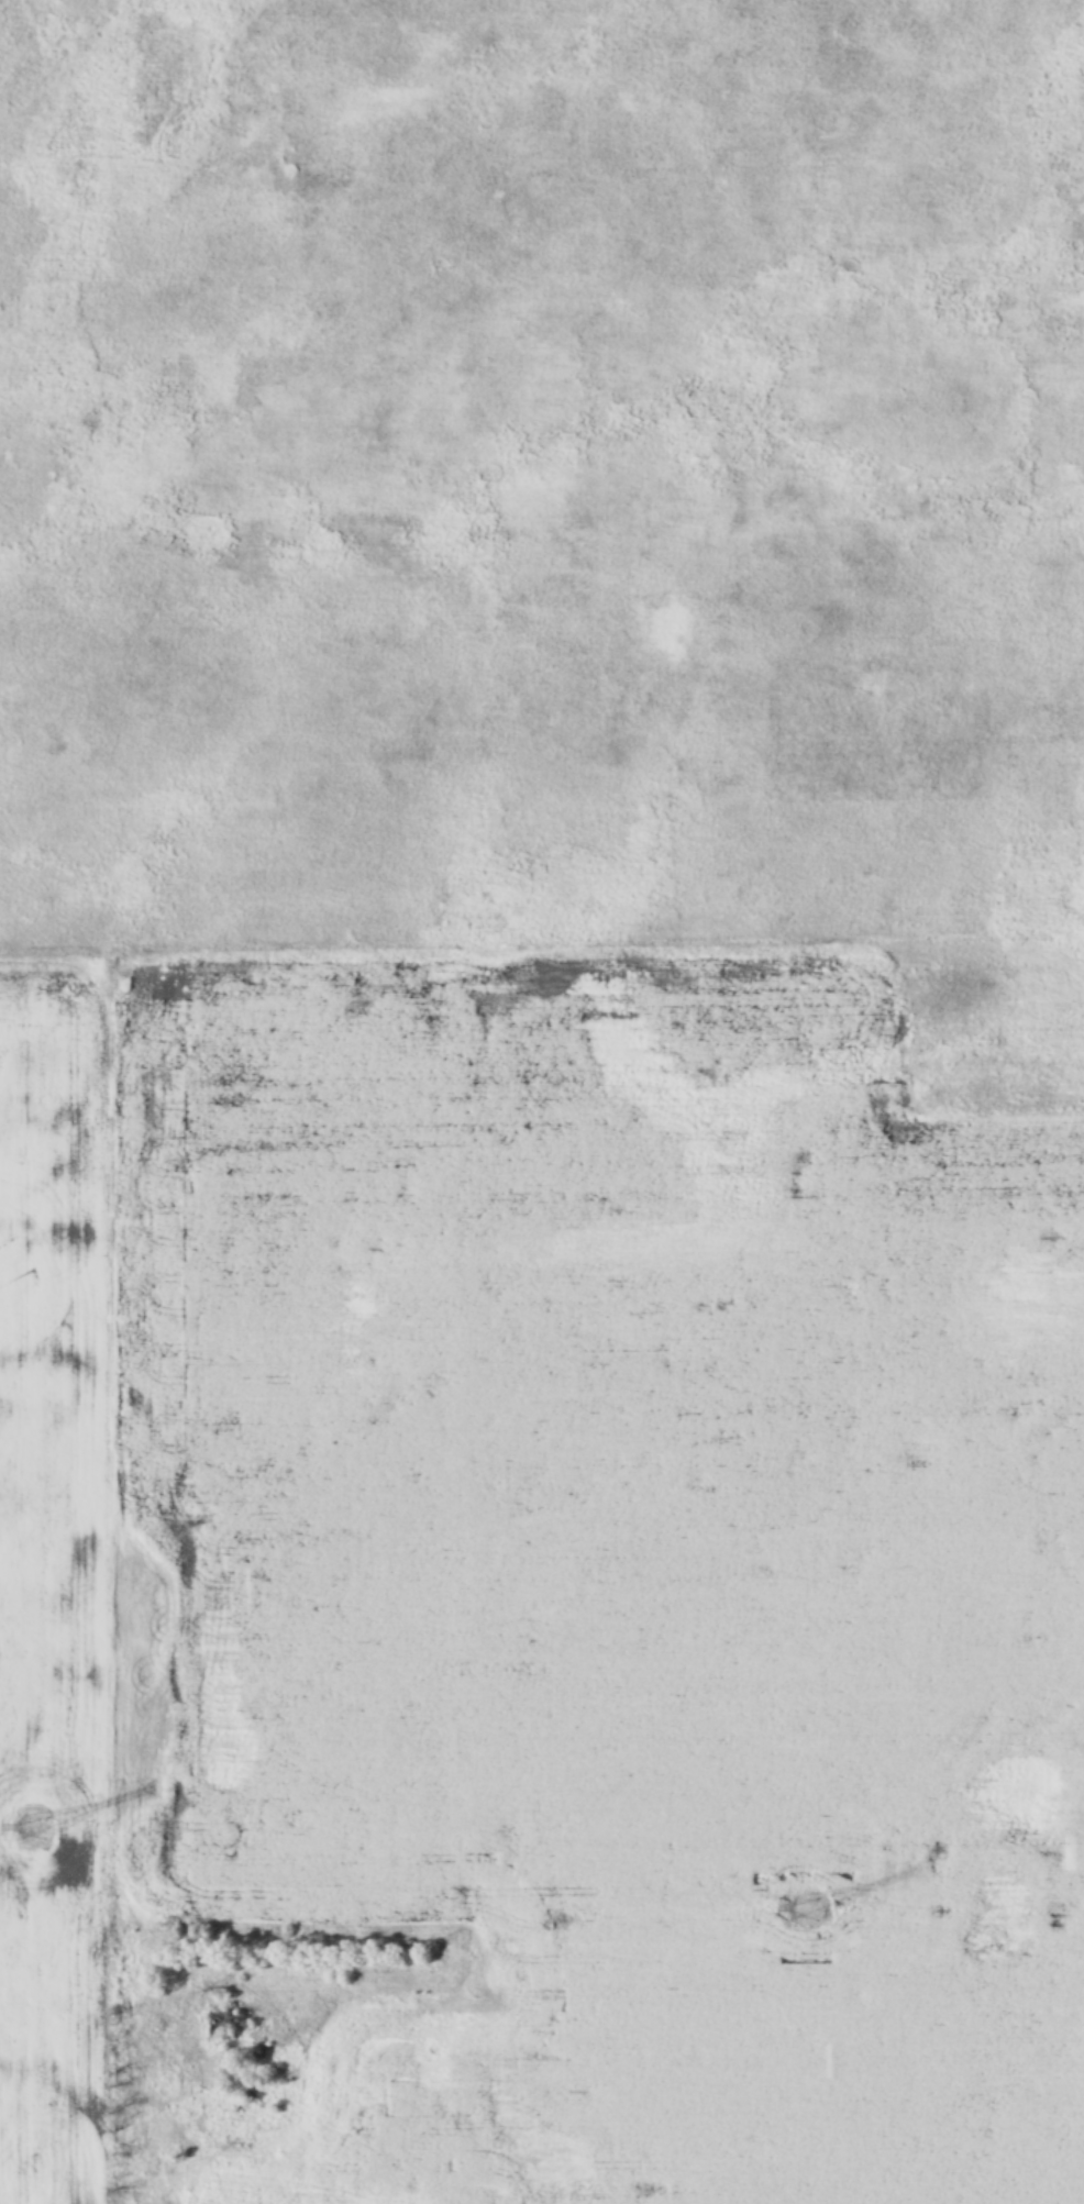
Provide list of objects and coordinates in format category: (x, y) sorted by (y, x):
power tower: (31, 1820)
power tower: (816, 1901)

